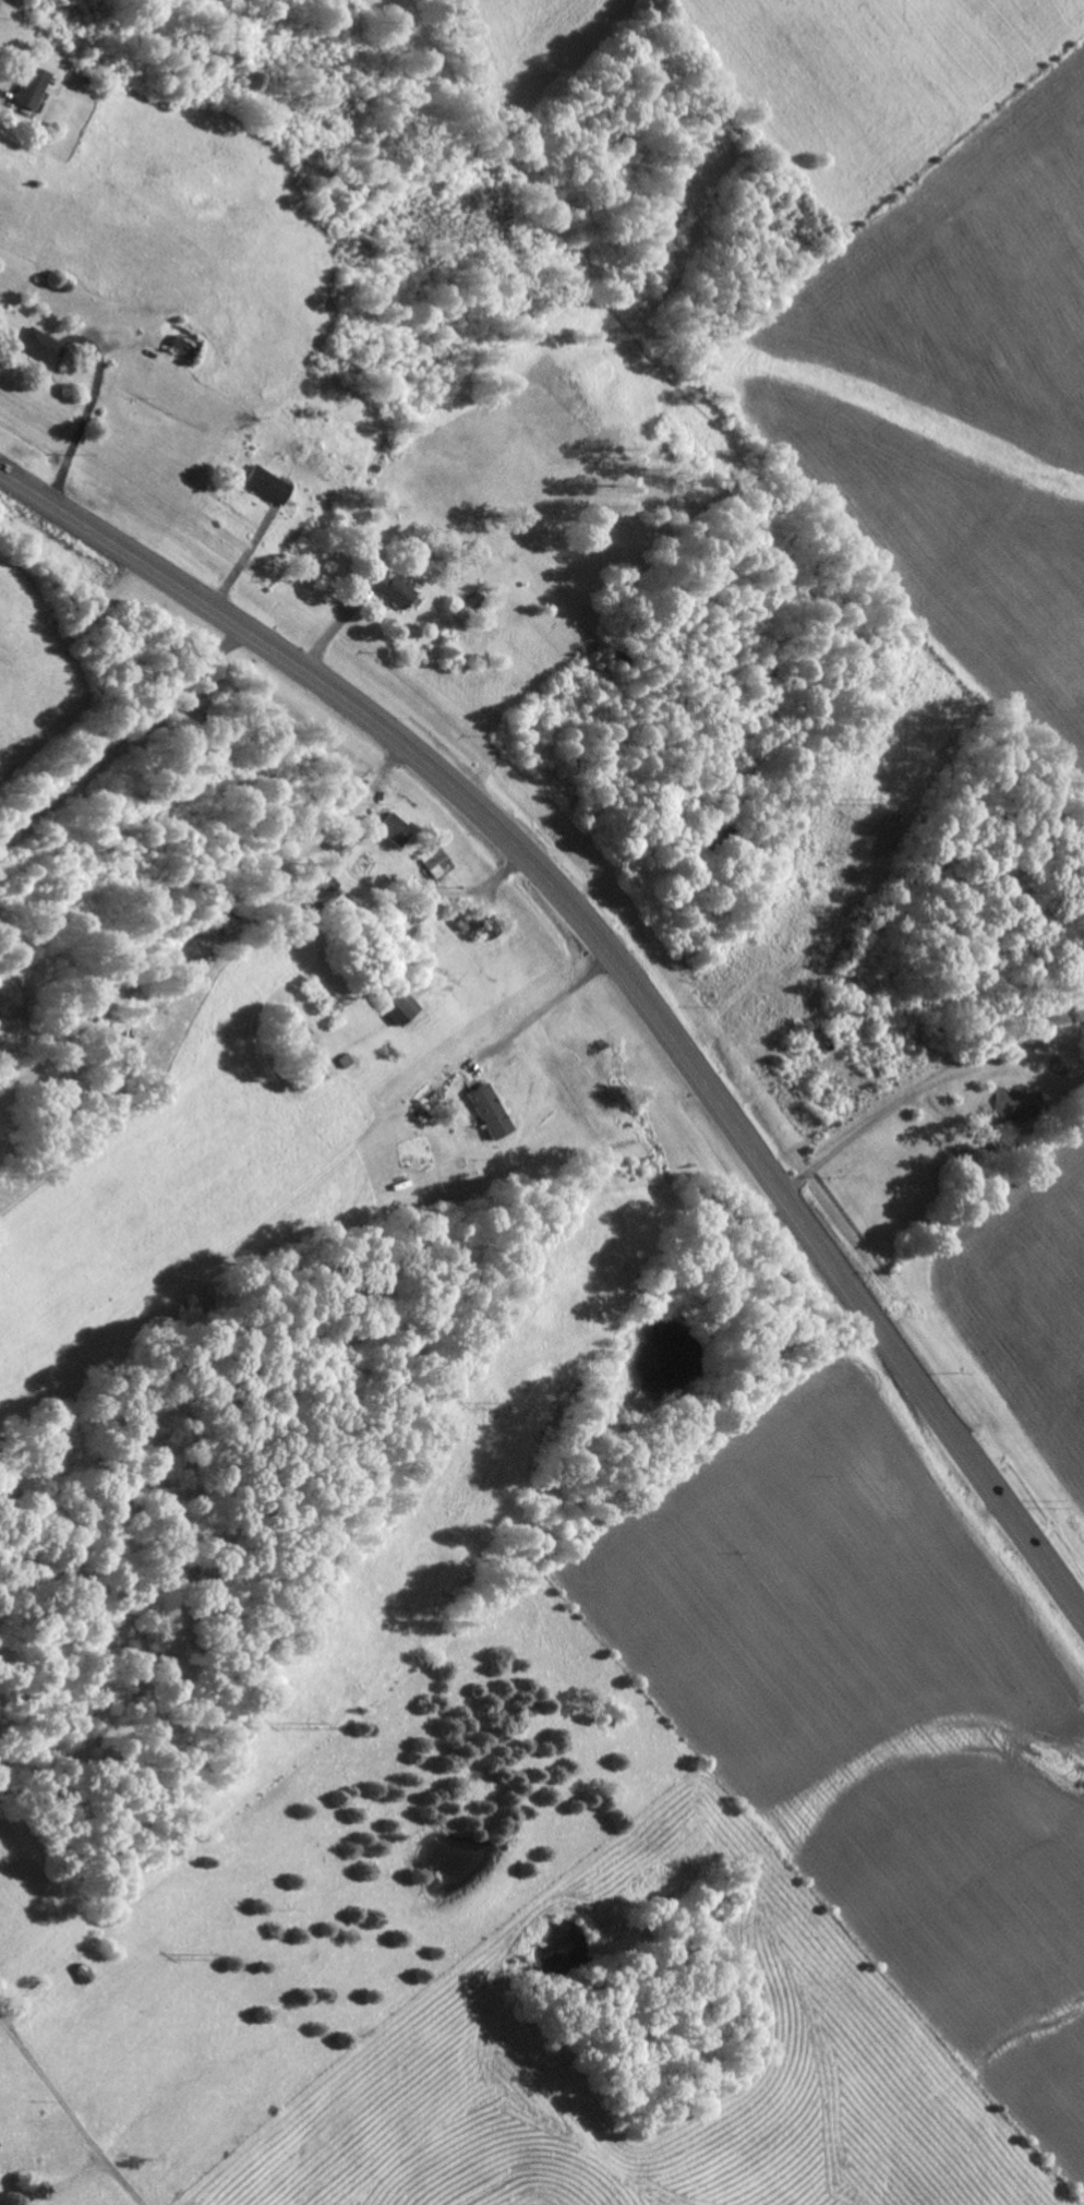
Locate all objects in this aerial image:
building: (36, 87)
building: (47, 346)
building: (263, 483)
building: (394, 590)
road: (694, 789)
power tower: (864, 810)
building: (388, 827)
building: (346, 847)
road: (621, 967)
building: (394, 1003)
building: (484, 1110)
power tower: (507, 1402)
power tower: (315, 1726)
power tower: (208, 1956)

